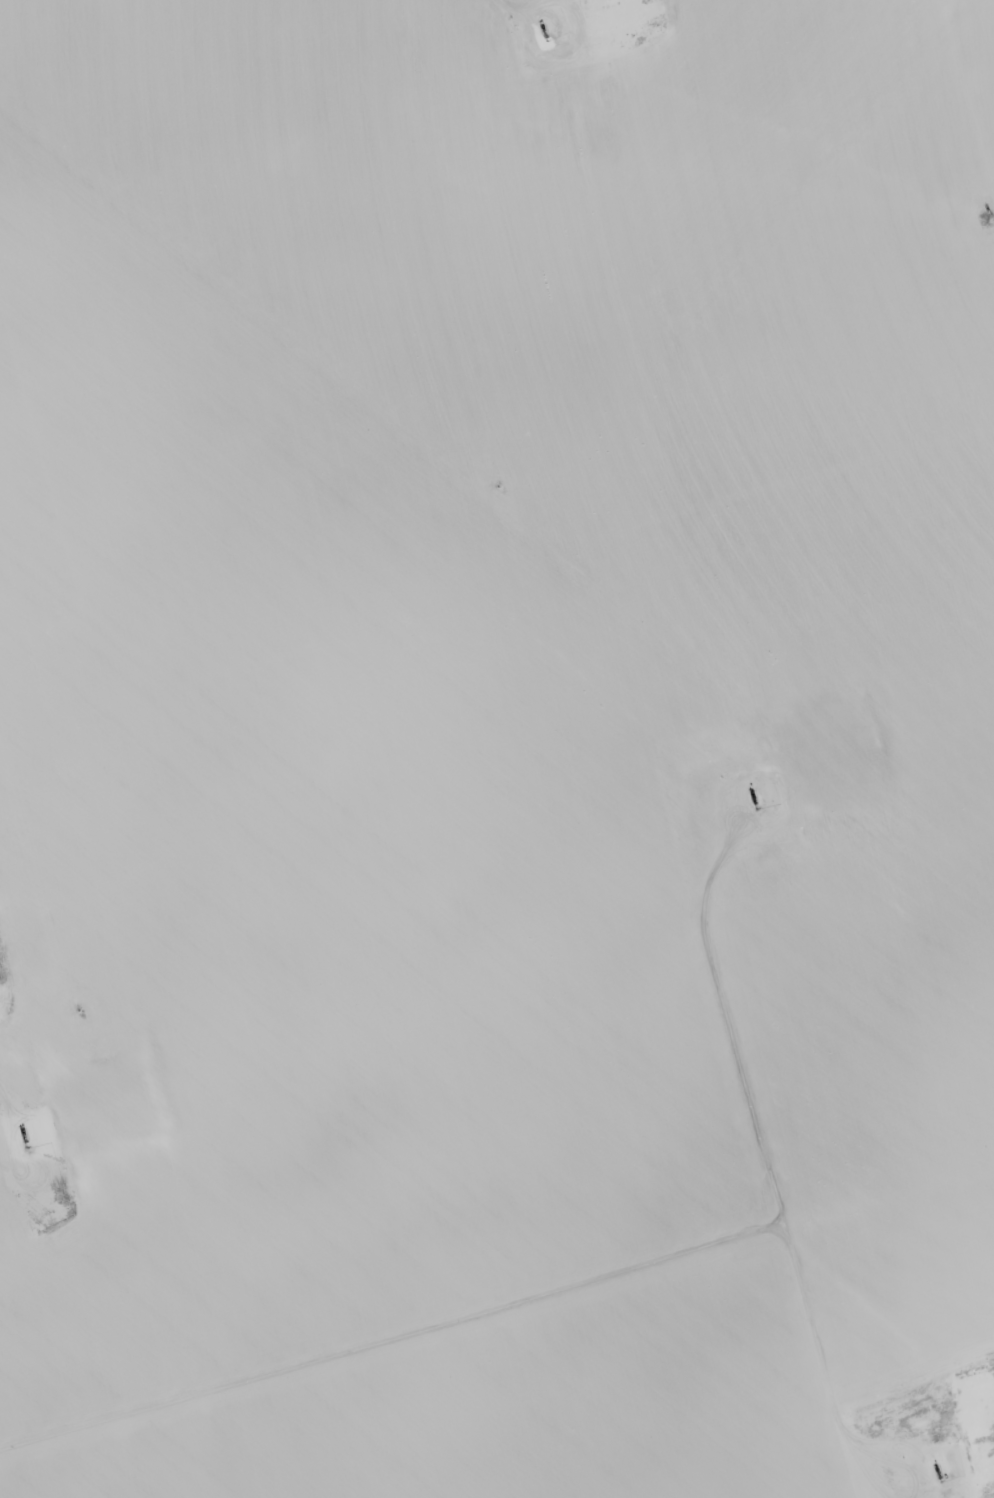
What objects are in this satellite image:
road: (33, 587)
road: (467, 822)
road: (34, 970)
road: (982, 1390)

